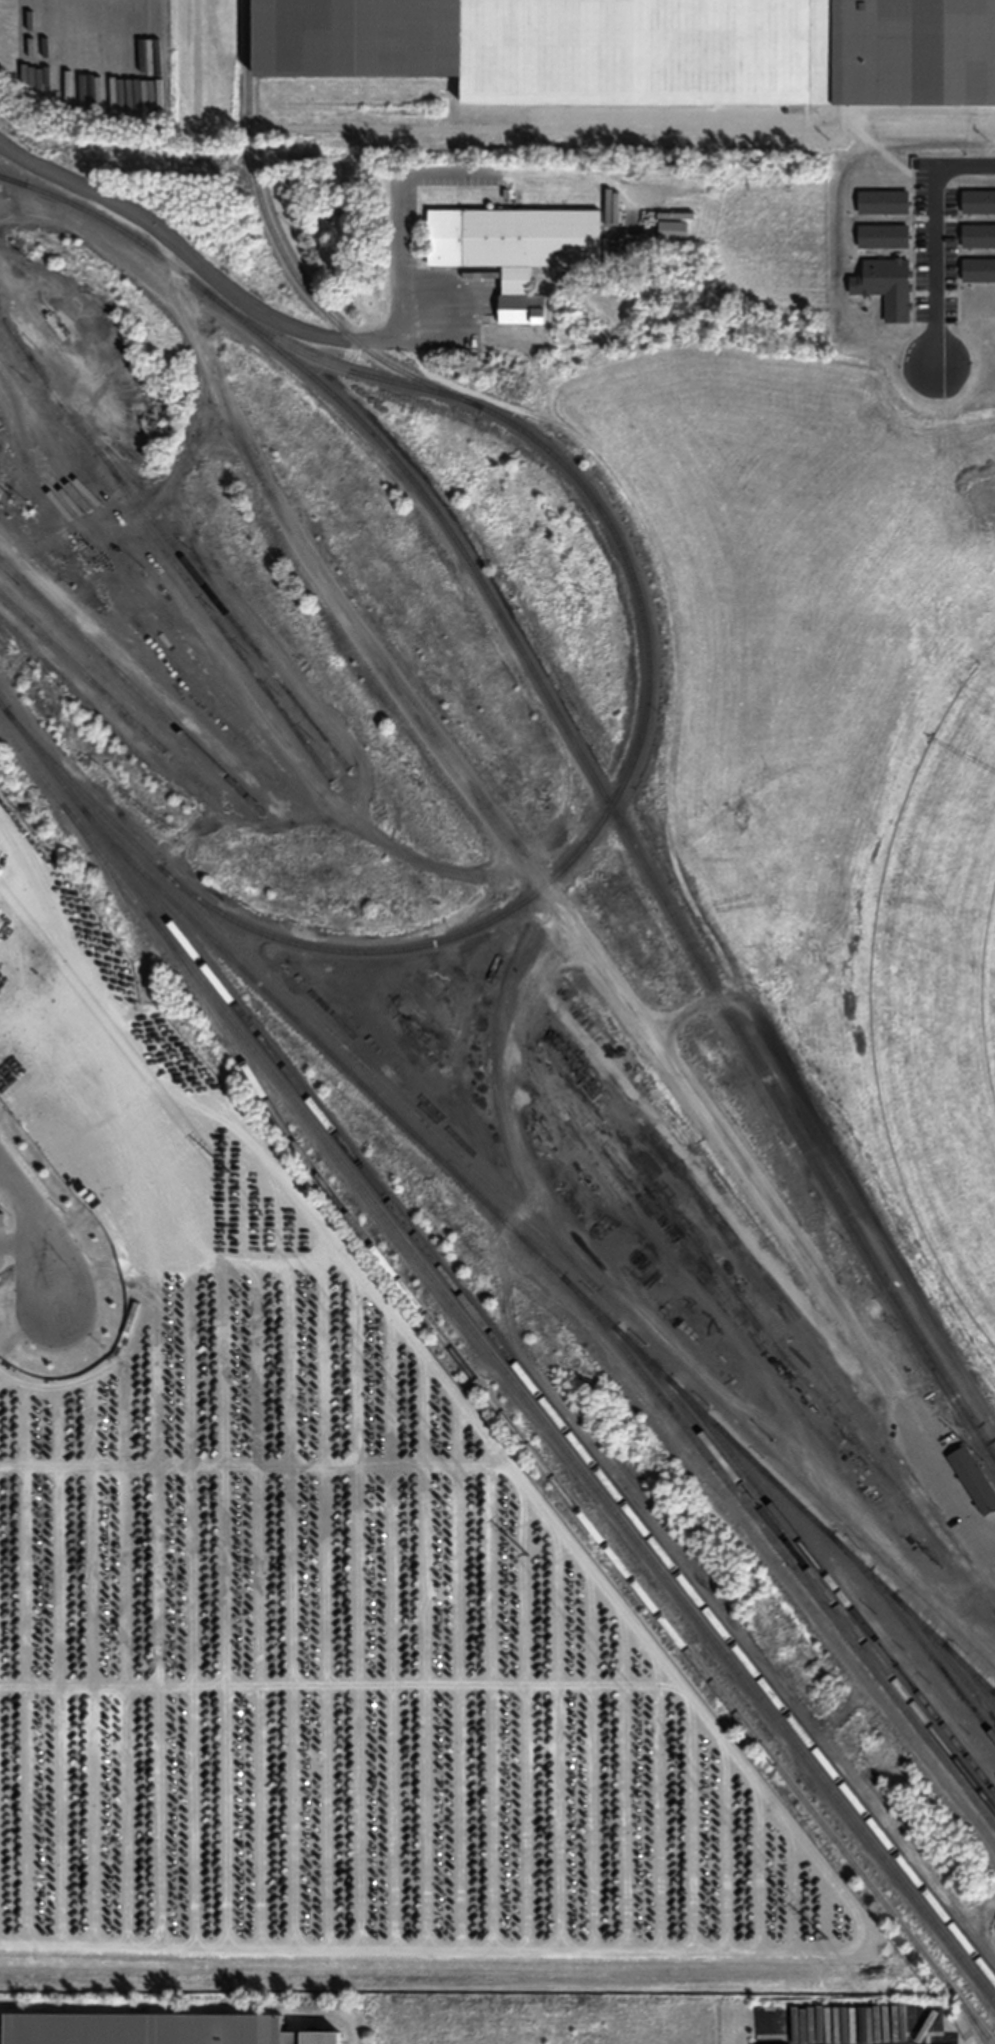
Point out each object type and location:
building: (639, 48)
railway: (11, 177)
road: (88, 228)
building: (673, 229)
building: (514, 247)
railway: (280, 251)
road: (194, 259)
railway: (170, 542)
railway: (629, 570)
railway: (211, 617)
crop: (840, 635)
railway: (82, 669)
railway: (131, 684)
railway: (634, 846)
road: (13, 855)
road: (665, 856)
road: (554, 898)
road: (78, 958)
road: (692, 1008)
railway: (150, 1071)
railway: (498, 1117)
railway: (112, 1160)
road: (0, 1166)
railway: (498, 1192)
road: (38, 1227)
road: (20, 1239)
railway: (536, 1251)
road: (336, 1287)
railway: (761, 1327)
railway: (497, 1341)
railway: (820, 1352)
building: (265, 1355)
railway: (497, 1362)
road: (642, 1395)
building: (226, 1448)
building: (974, 1481)
railway: (558, 1487)
railway: (779, 1551)
railway: (806, 1566)
railway: (832, 1583)
building: (168, 1588)
railway: (914, 1634)
railway: (945, 1655)
railway: (970, 1672)
railway: (994, 1690)
road: (961, 1971)
railway: (966, 2013)
building: (139, 2032)

